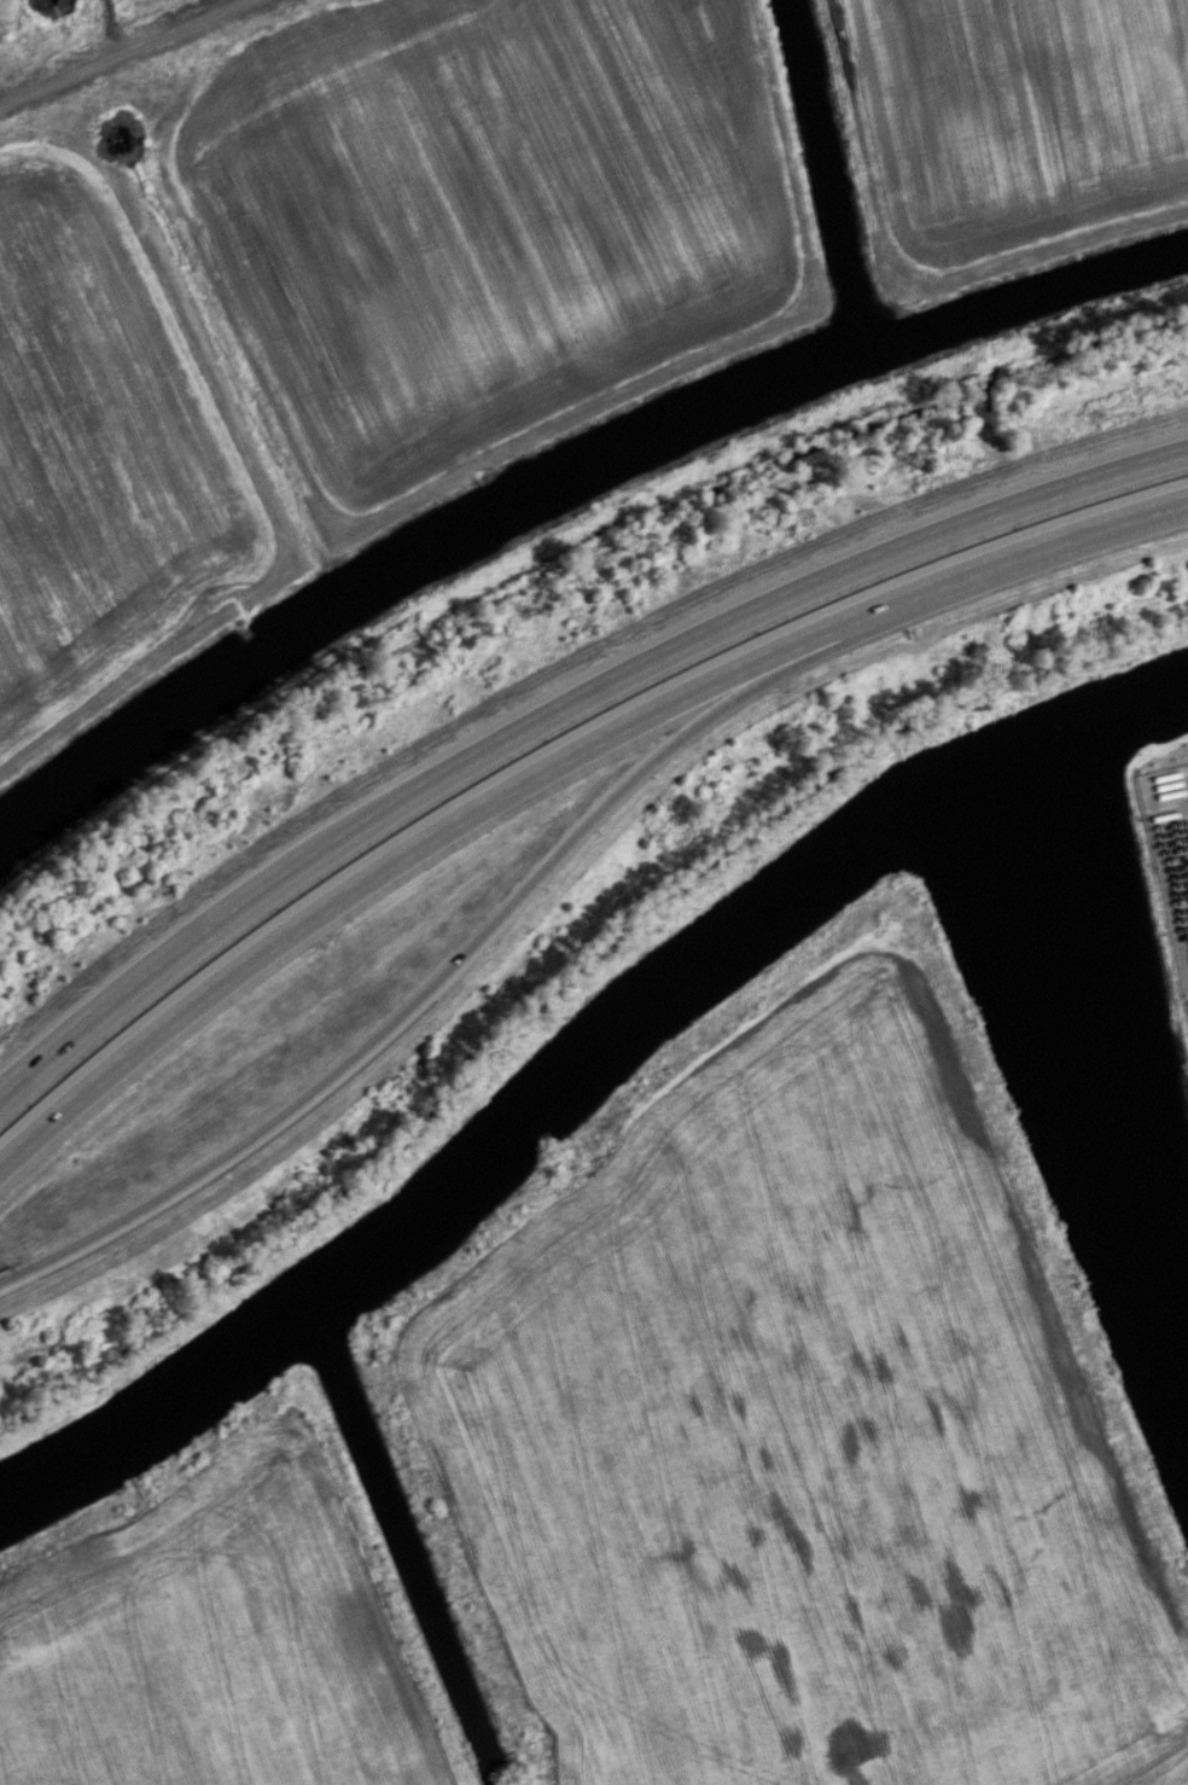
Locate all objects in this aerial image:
road: (111, 28)
road: (124, 52)
road: (1032, 546)
road: (759, 605)
road: (415, 844)
road: (175, 954)
road: (454, 960)

